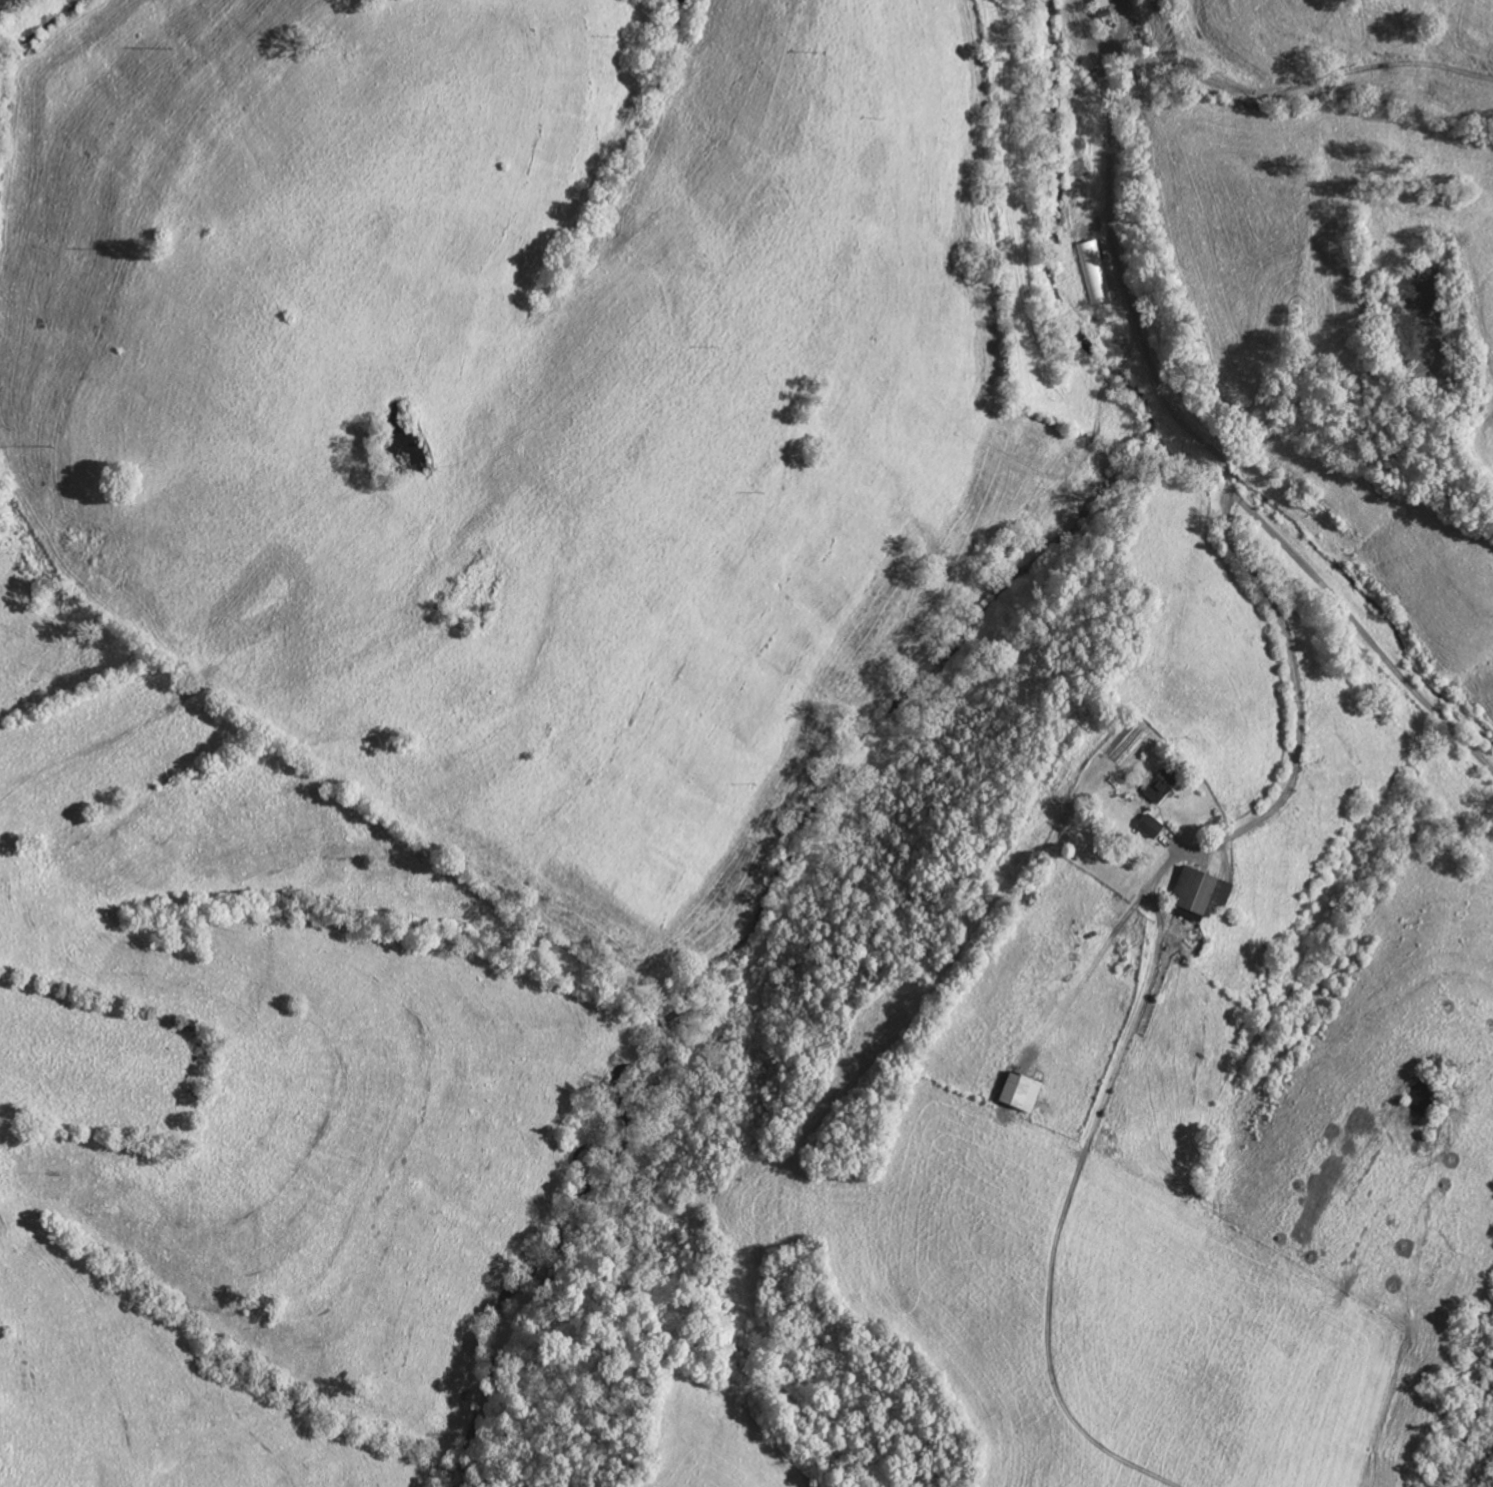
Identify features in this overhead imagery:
road: (6, 4)
building: (1104, 4)
power tower: (508, 168)
building: (1094, 274)
power tower: (286, 319)
road: (1188, 435)
road: (1299, 732)
building: (1165, 788)
building: (1156, 828)
building: (1205, 894)
road: (1092, 977)
building: (1026, 1093)

